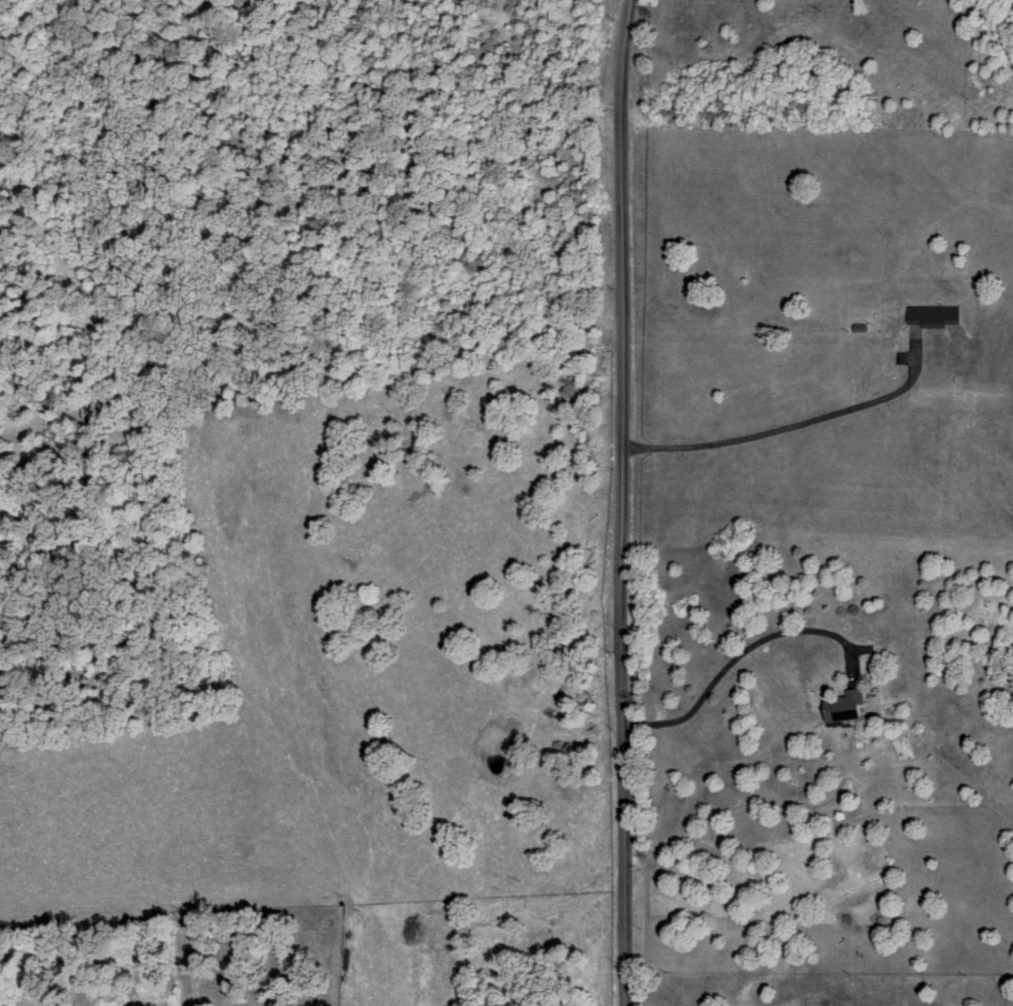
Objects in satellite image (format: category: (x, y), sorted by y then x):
building: (930, 313)
road: (790, 431)
road: (622, 502)
road: (741, 649)
building: (840, 704)

